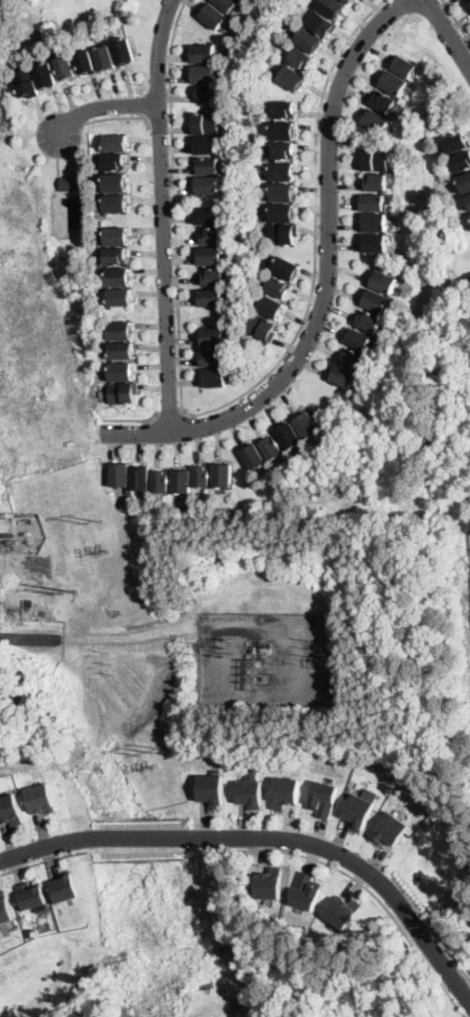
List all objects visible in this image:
building: (469, 0)
building: (349, 1)
building: (219, 12)
road: (456, 22)
road: (446, 34)
building: (309, 41)
building: (38, 69)
building: (205, 73)
building: (226, 73)
building: (396, 94)
road: (103, 107)
road: (121, 119)
road: (160, 120)
building: (115, 143)
building: (456, 143)
building: (215, 156)
building: (113, 162)
building: (461, 162)
building: (281, 177)
building: (115, 183)
building: (465, 183)
building: (72, 184)
building: (468, 199)
building: (374, 202)
building: (115, 204)
road: (162, 215)
building: (113, 236)
building: (115, 256)
building: (210, 257)
building: (118, 278)
road: (327, 279)
building: (119, 298)
building: (271, 301)
building: (364, 329)
building: (119, 331)
building: (121, 350)
building: (214, 357)
building: (120, 372)
building: (123, 393)
road: (226, 403)
road: (170, 414)
road: (132, 420)
building: (292, 440)
building: (139, 480)
power tower: (93, 522)
building: (5, 523)
power tower: (102, 553)
power tower: (73, 590)
power tower: (57, 592)
road: (31, 638)
power tower: (193, 647)
power tower: (233, 647)
power substation: (264, 659)
power tower: (152, 752)
building: (211, 788)
building: (250, 789)
building: (285, 791)
building: (323, 797)
building: (40, 798)
building: (360, 807)
building: (9, 809)
building: (390, 829)
road: (214, 837)
road: (267, 851)
building: (269, 882)
building: (65, 886)
building: (306, 890)
building: (31, 894)
building: (5, 907)
building: (343, 910)
road: (436, 951)
road: (468, 992)

